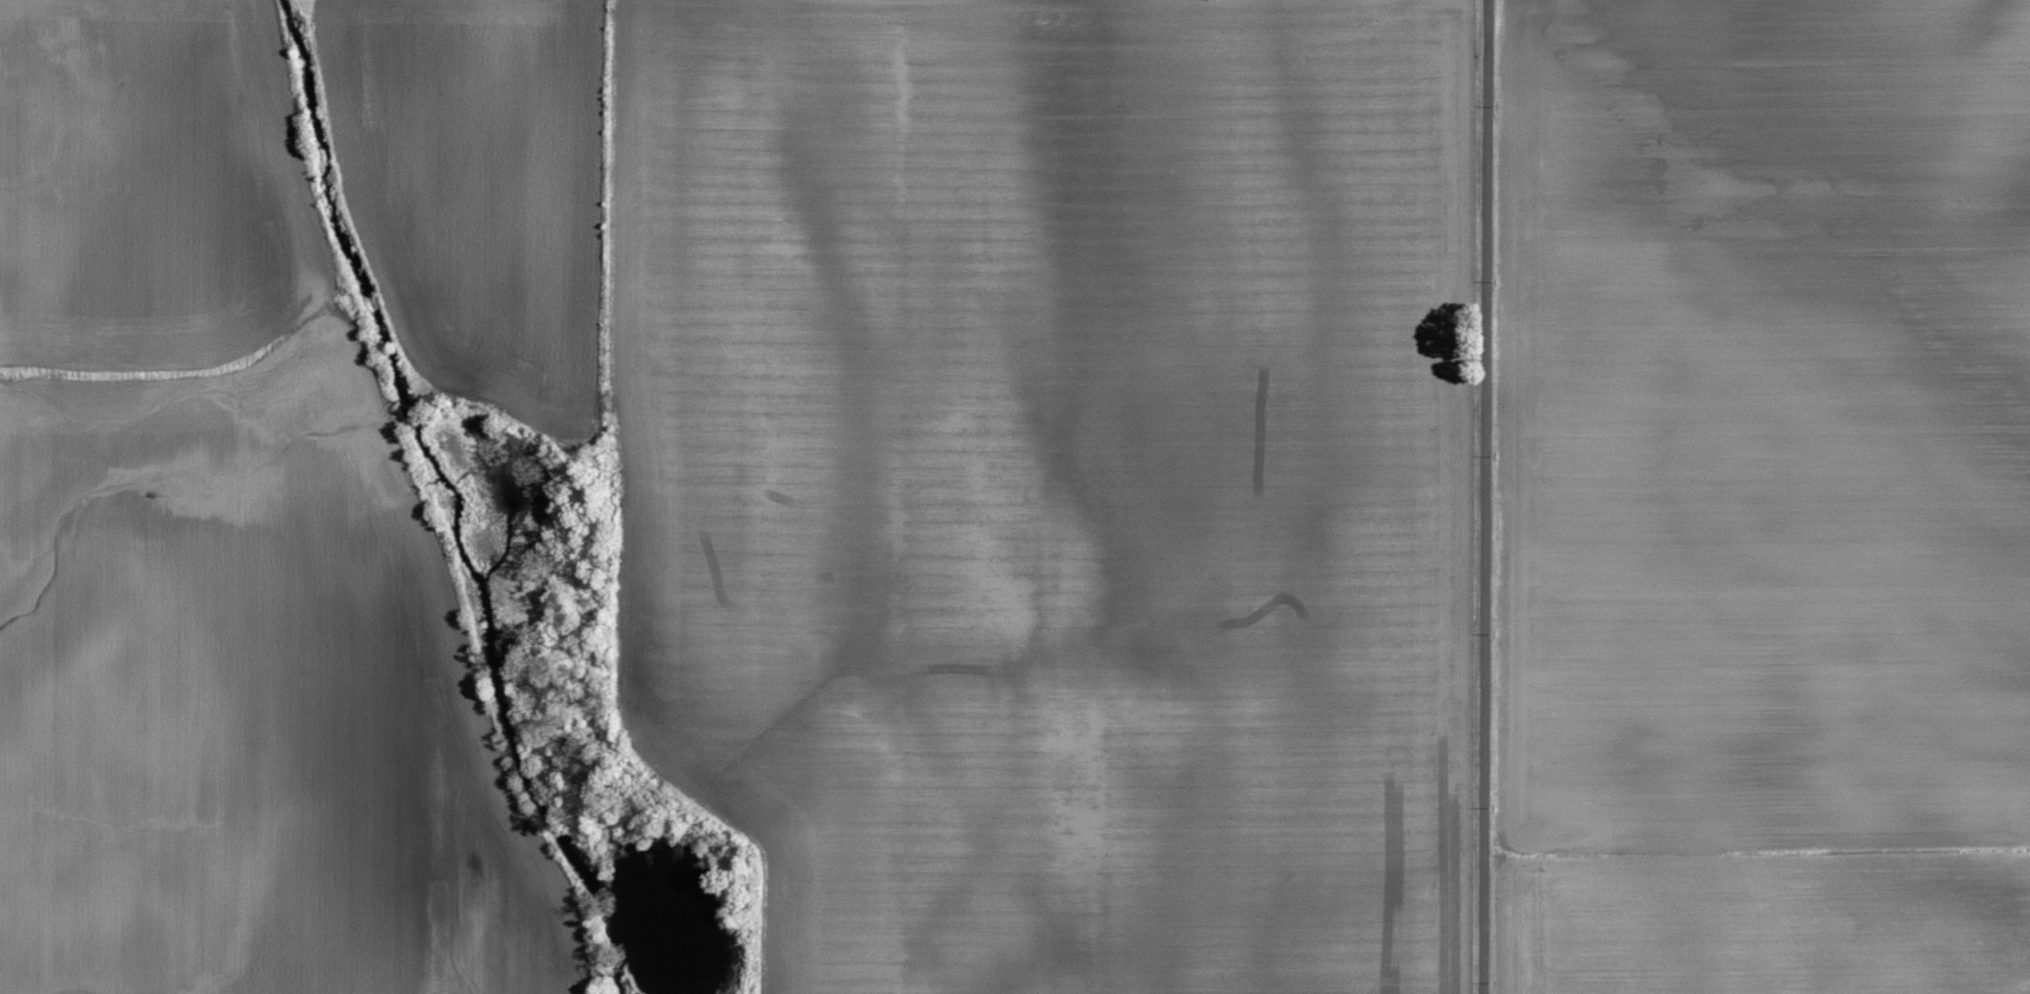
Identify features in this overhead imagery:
road: (1486, 497)

